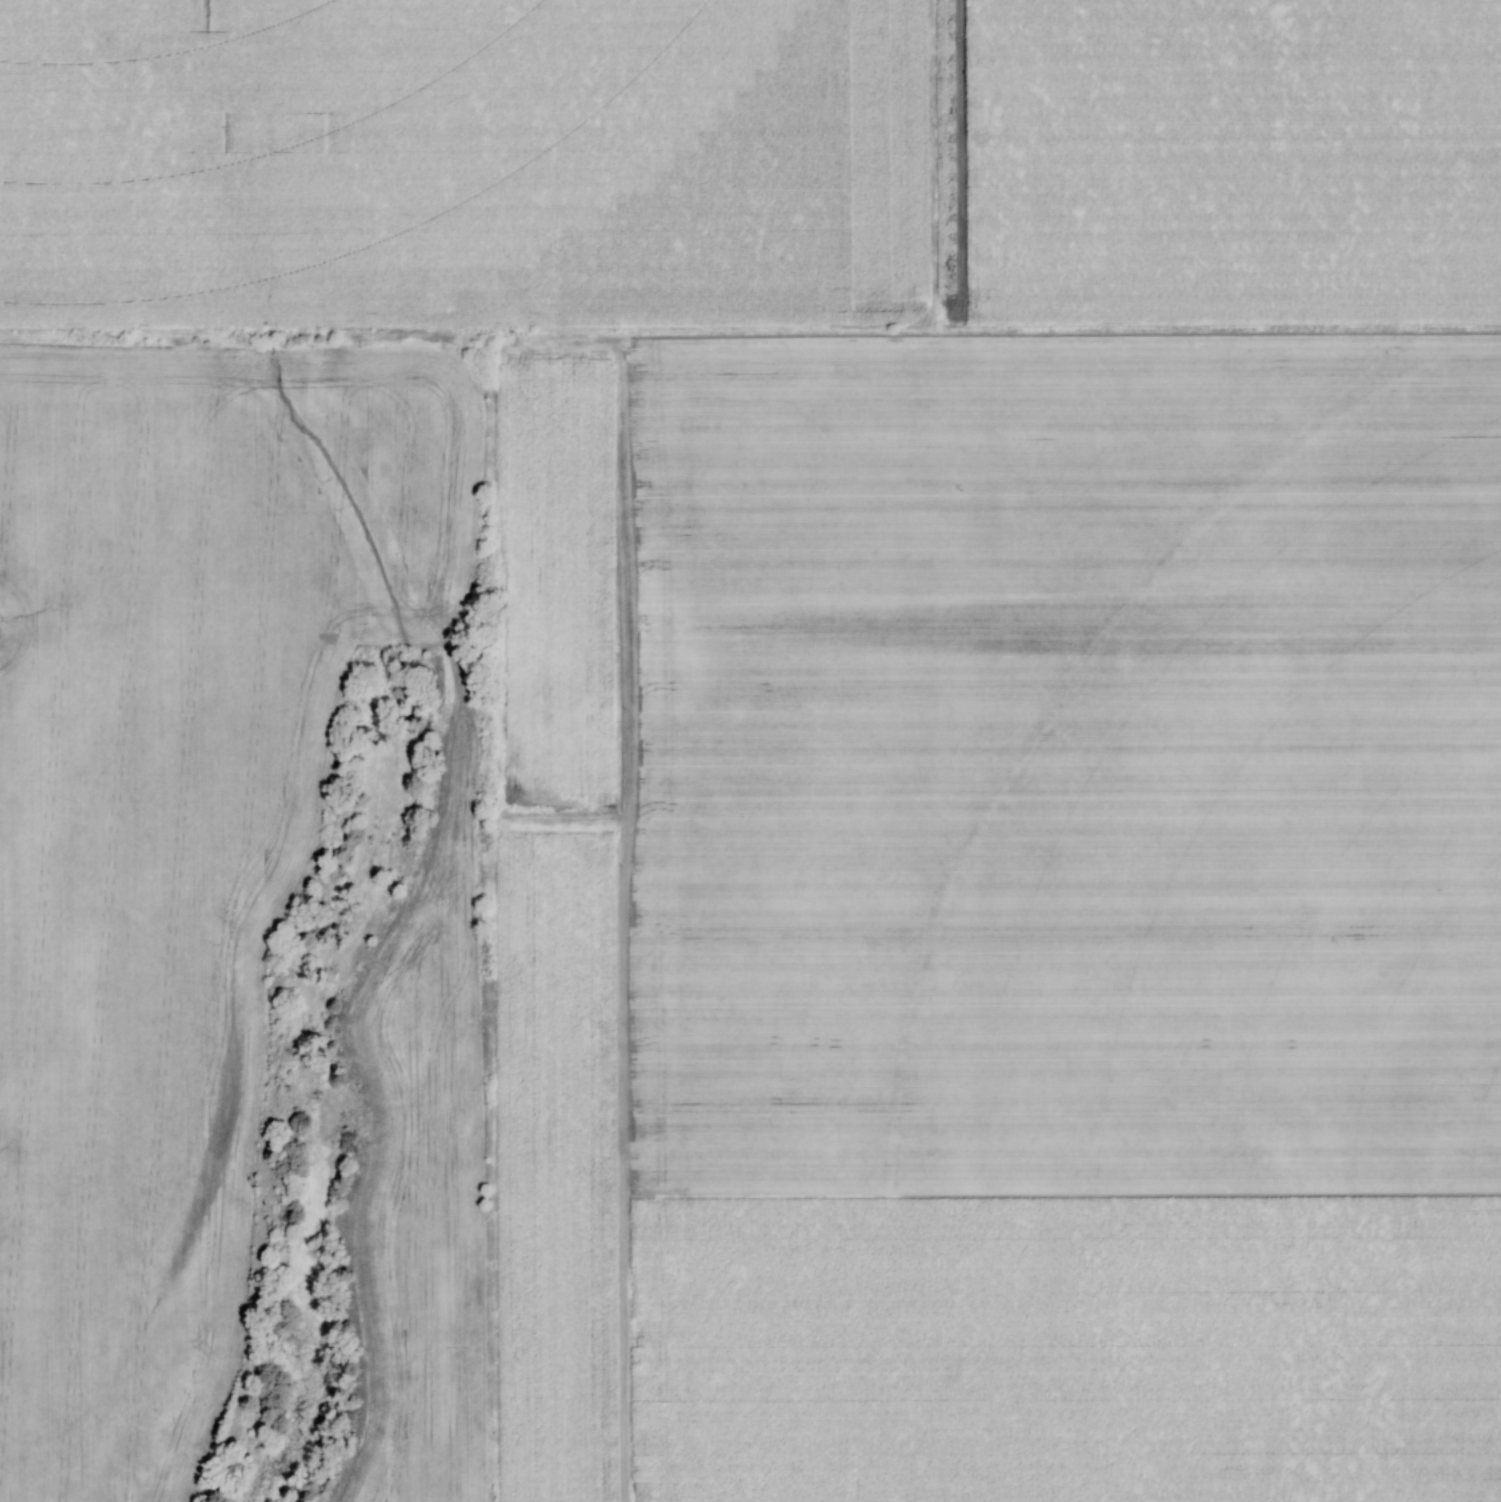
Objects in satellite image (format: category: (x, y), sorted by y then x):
crop: (452, 165)

